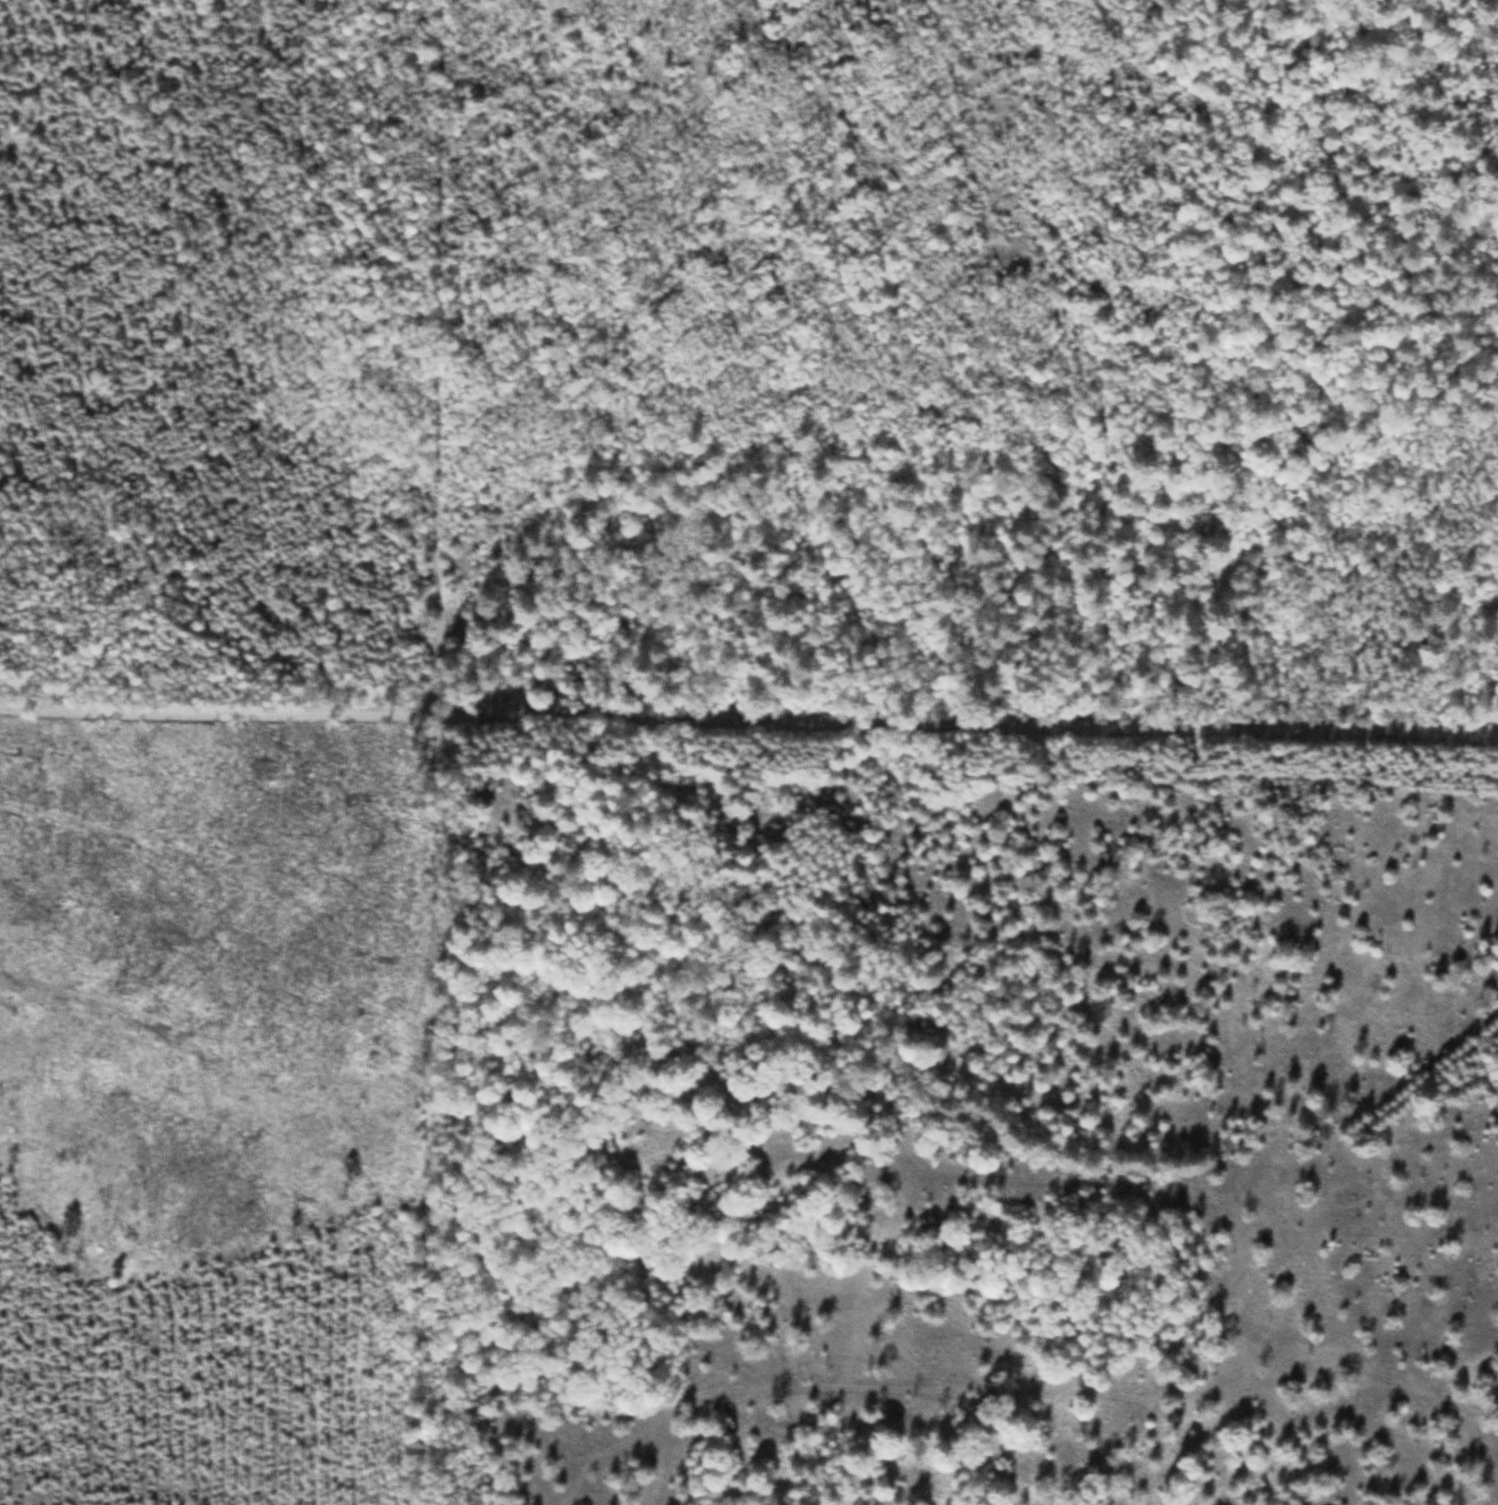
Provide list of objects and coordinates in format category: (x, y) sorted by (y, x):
road: (748, 717)
road: (422, 753)

